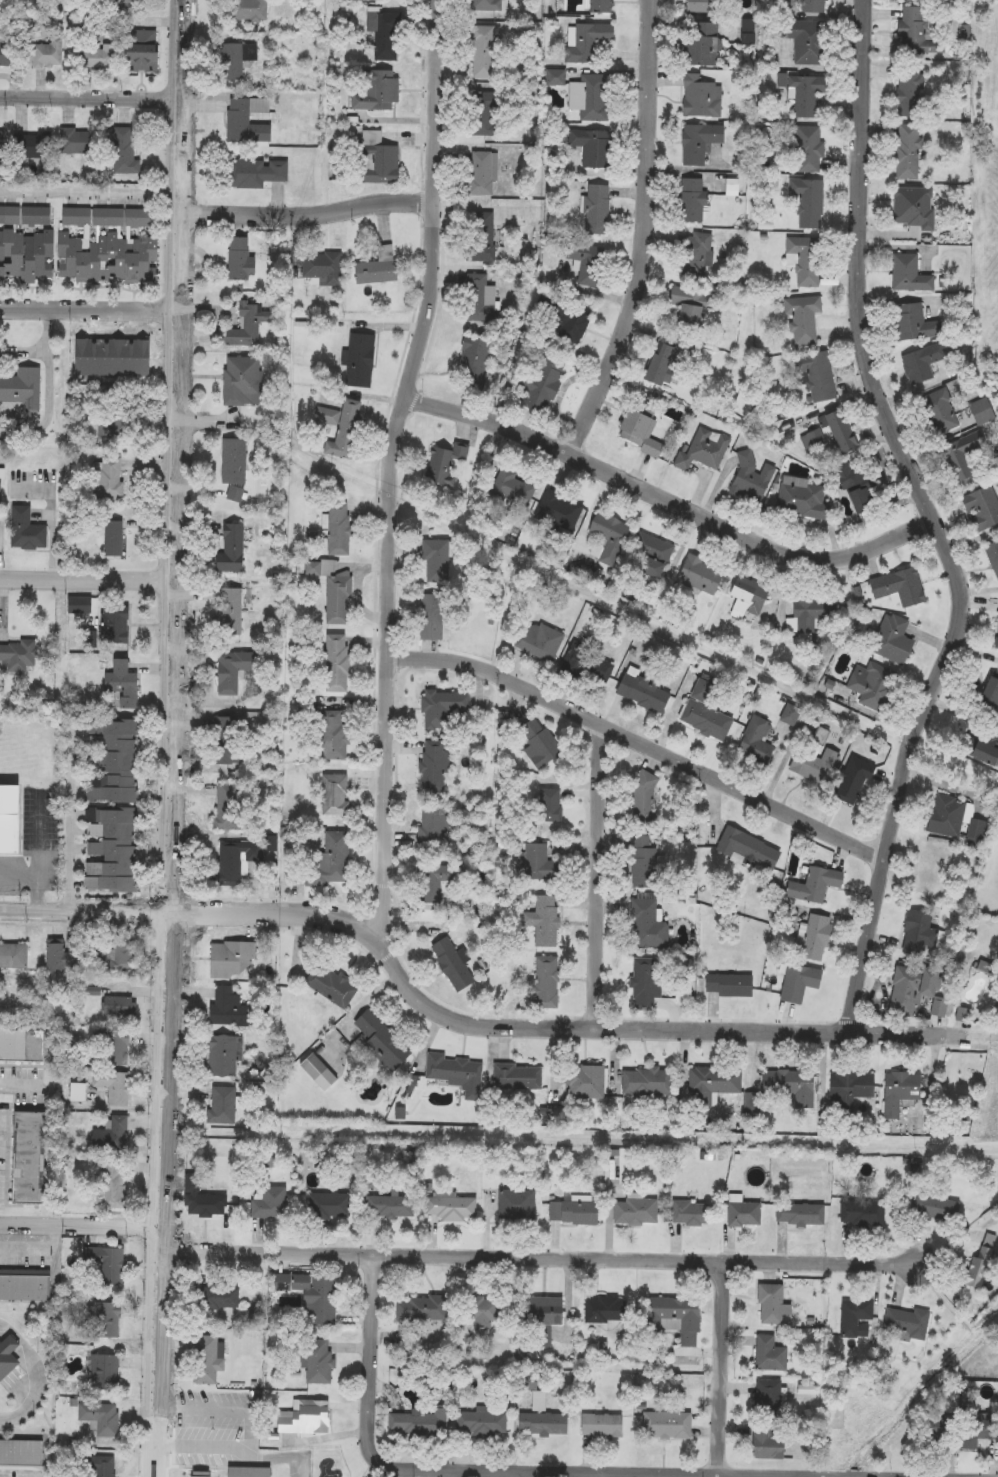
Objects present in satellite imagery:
building: (117, 4)
building: (486, 6)
building: (597, 6)
building: (699, 6)
building: (814, 6)
building: (249, 11)
building: (915, 32)
building: (385, 35)
building: (586, 41)
building: (807, 41)
building: (700, 44)
building: (138, 51)
building: (484, 51)
building: (7, 54)
building: (47, 55)
building: (98, 57)
building: (231, 63)
building: (378, 90)
road: (423, 94)
building: (805, 94)
building: (908, 95)
road: (91, 97)
building: (588, 98)
building: (700, 98)
building: (481, 114)
building: (246, 121)
building: (75, 142)
building: (698, 143)
building: (1, 145)
building: (33, 146)
building: (590, 147)
building: (807, 150)
building: (123, 152)
building: (907, 152)
building: (374, 159)
building: (253, 173)
building: (483, 176)
road: (91, 193)
road: (444, 196)
road: (422, 201)
building: (691, 201)
building: (808, 203)
building: (913, 208)
building: (595, 210)
road: (308, 214)
road: (646, 233)
building: (479, 237)
building: (25, 244)
building: (105, 244)
building: (696, 254)
building: (804, 260)
building: (239, 261)
building: (587, 264)
building: (376, 268)
building: (322, 269)
building: (908, 274)
building: (479, 299)
building: (686, 309)
road: (89, 310)
building: (803, 317)
building: (571, 322)
building: (913, 323)
building: (248, 325)
road: (40, 346)
building: (87, 357)
building: (112, 357)
building: (137, 357)
building: (357, 360)
building: (473, 360)
building: (924, 363)
building: (656, 365)
building: (815, 378)
building: (240, 382)
building: (539, 382)
building: (20, 392)
road: (415, 400)
road: (54, 407)
building: (939, 413)
building: (113, 422)
building: (339, 428)
building: (636, 433)
building: (830, 436)
building: (703, 450)
building: (967, 453)
building: (445, 467)
building: (233, 468)
road: (392, 469)
building: (108, 478)
building: (751, 478)
building: (859, 484)
building: (516, 488)
building: (802, 498)
road: (671, 500)
building: (556, 508)
building: (981, 508)
road: (937, 520)
road: (399, 528)
building: (337, 530)
building: (25, 531)
building: (608, 536)
building: (112, 539)
building: (229, 549)
building: (650, 557)
building: (992, 558)
building: (435, 561)
building: (700, 576)
road: (88, 583)
building: (899, 588)
building: (332, 593)
building: (746, 596)
building: (80, 606)
building: (229, 612)
building: (812, 613)
building: (432, 617)
building: (114, 626)
building: (894, 640)
building: (997, 640)
building: (539, 641)
road: (375, 653)
road: (398, 655)
building: (19, 656)
building: (336, 664)
building: (587, 667)
building: (231, 671)
building: (120, 684)
building: (871, 685)
building: (0, 686)
building: (641, 689)
building: (831, 692)
building: (989, 693)
building: (442, 708)
building: (705, 713)
building: (331, 733)
road: (173, 738)
building: (225, 741)
building: (537, 743)
building: (755, 743)
building: (984, 743)
road: (641, 744)
building: (434, 765)
building: (814, 767)
road: (396, 776)
building: (856, 787)
building: (333, 795)
building: (643, 798)
building: (549, 805)
building: (110, 806)
building: (227, 806)
building: (946, 817)
building: (13, 819)
building: (432, 830)
road: (72, 832)
road: (46, 833)
building: (749, 850)
building: (328, 861)
building: (640, 861)
building: (234, 862)
building: (537, 864)
building: (931, 872)
road: (41, 874)
road: (598, 876)
road: (383, 884)
building: (813, 885)
building: (435, 887)
road: (129, 905)
road: (157, 911)
road: (185, 912)
building: (543, 921)
road: (134, 923)
building: (646, 925)
road: (171, 927)
building: (920, 934)
building: (814, 938)
road: (386, 954)
building: (16, 956)
building: (64, 956)
building: (128, 957)
building: (231, 960)
building: (450, 964)
road: (181, 981)
building: (545, 983)
building: (644, 983)
building: (797, 983)
building: (330, 986)
building: (728, 986)
building: (909, 987)
building: (682, 988)
building: (228, 1006)
building: (124, 1007)
road: (475, 1012)
road: (596, 1015)
building: (961, 1015)
road: (724, 1018)
road: (449, 1019)
road: (850, 1020)
building: (378, 1040)
building: (25, 1046)
building: (119, 1048)
building: (226, 1056)
building: (312, 1067)
building: (454, 1073)
building: (516, 1077)
building: (646, 1082)
road: (14, 1083)
building: (584, 1083)
building: (712, 1084)
building: (789, 1086)
building: (117, 1087)
building: (849, 1088)
building: (899, 1092)
building: (81, 1093)
building: (227, 1106)
building: (112, 1142)
building: (32, 1159)
building: (116, 1183)
building: (206, 1199)
building: (273, 1203)
building: (333, 1206)
building: (393, 1208)
building: (520, 1208)
building: (455, 1209)
building: (936, 1209)
building: (575, 1210)
building: (635, 1212)
building: (689, 1213)
building: (743, 1214)
building: (799, 1214)
building: (862, 1214)
road: (81, 1220)
road: (42, 1248)
road: (174, 1250)
road: (552, 1256)
road: (825, 1261)
building: (981, 1261)
building: (108, 1267)
building: (27, 1286)
building: (317, 1296)
building: (224, 1297)
building: (770, 1304)
building: (424, 1308)
building: (543, 1310)
building: (606, 1310)
building: (488, 1313)
building: (675, 1317)
building: (855, 1317)
building: (109, 1322)
building: (905, 1324)
road: (172, 1325)
building: (769, 1353)
building: (214, 1356)
building: (10, 1357)
building: (323, 1362)
road: (39, 1373)
building: (108, 1373)
building: (767, 1398)
building: (105, 1417)
building: (309, 1418)
building: (421, 1423)
building: (485, 1423)
building: (545, 1424)
building: (666, 1424)
building: (600, 1425)
road: (251, 1428)
building: (938, 1435)
building: (973, 1436)
building: (767, 1442)
building: (24, 1454)
road: (188, 1464)
building: (108, 1466)
building: (253, 1472)
road: (583, 1474)
road: (719, 1476)

